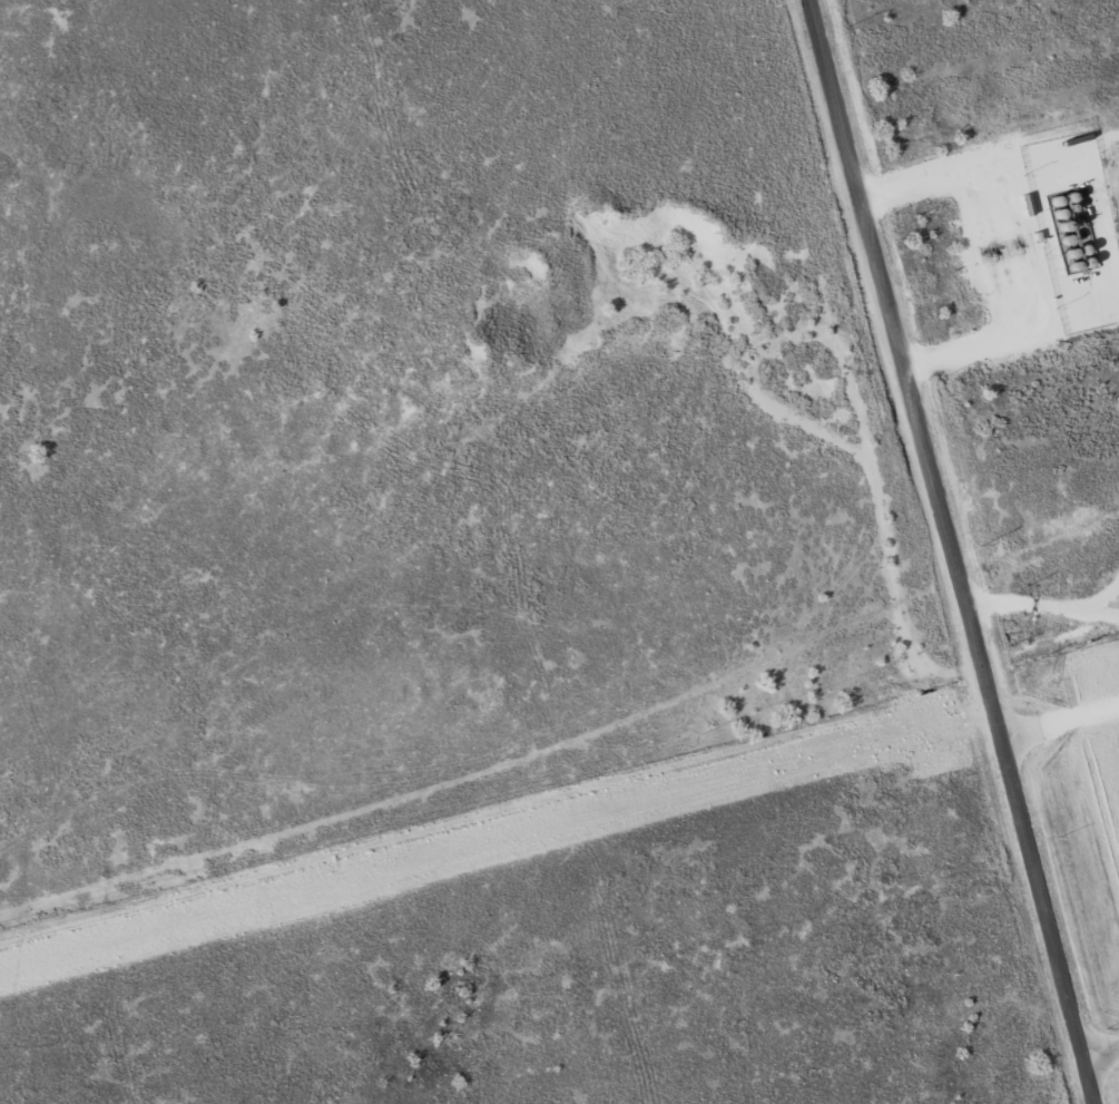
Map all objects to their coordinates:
road: (933, 551)
road: (1093, 1055)

